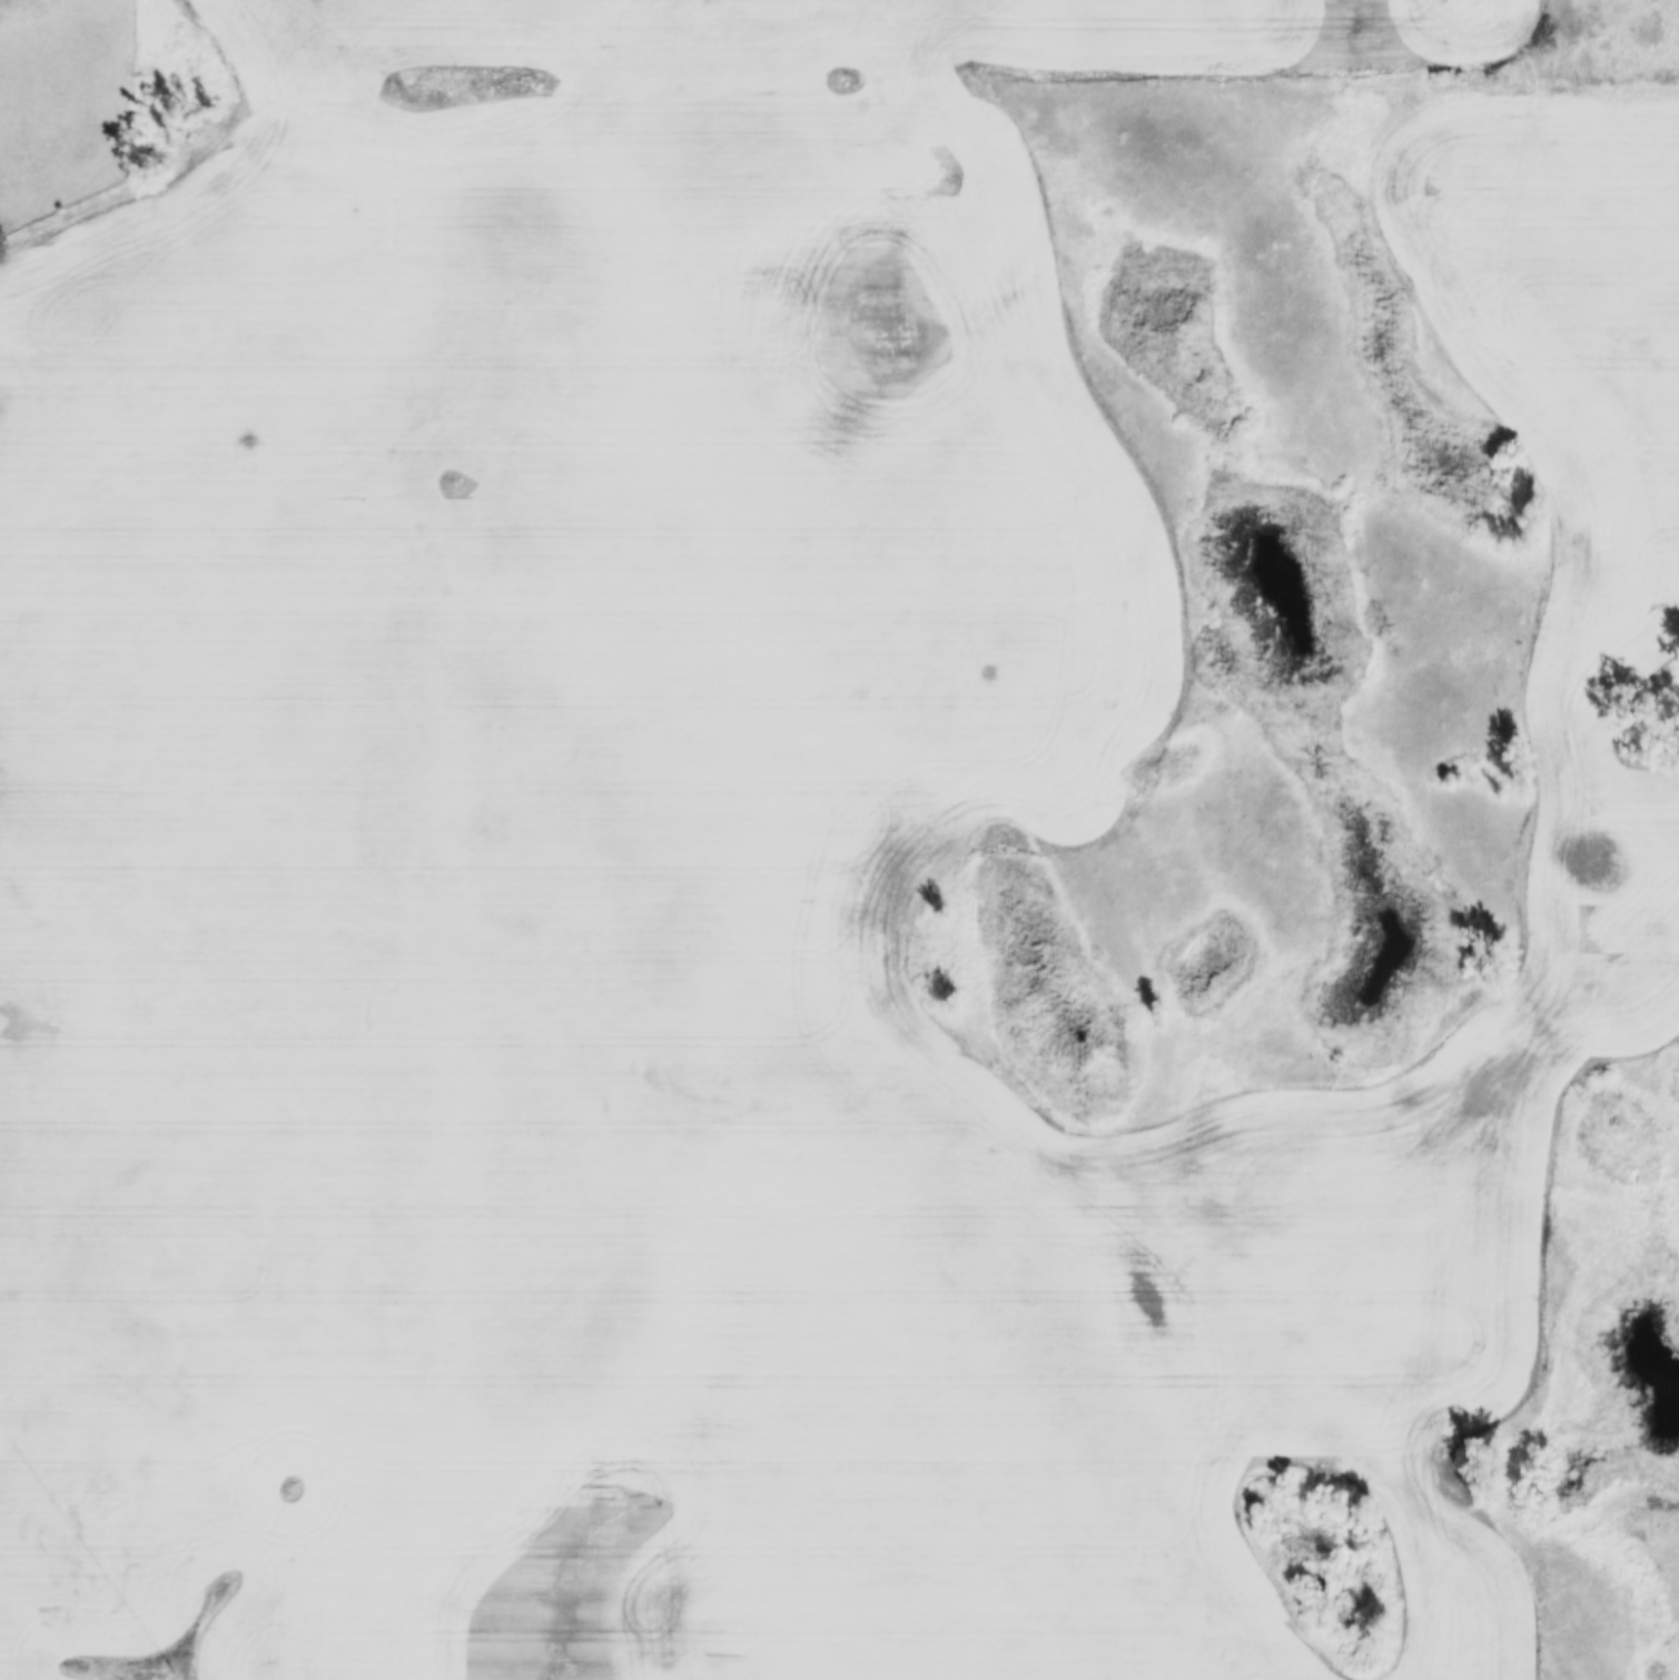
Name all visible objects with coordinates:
road: (210, 149)

